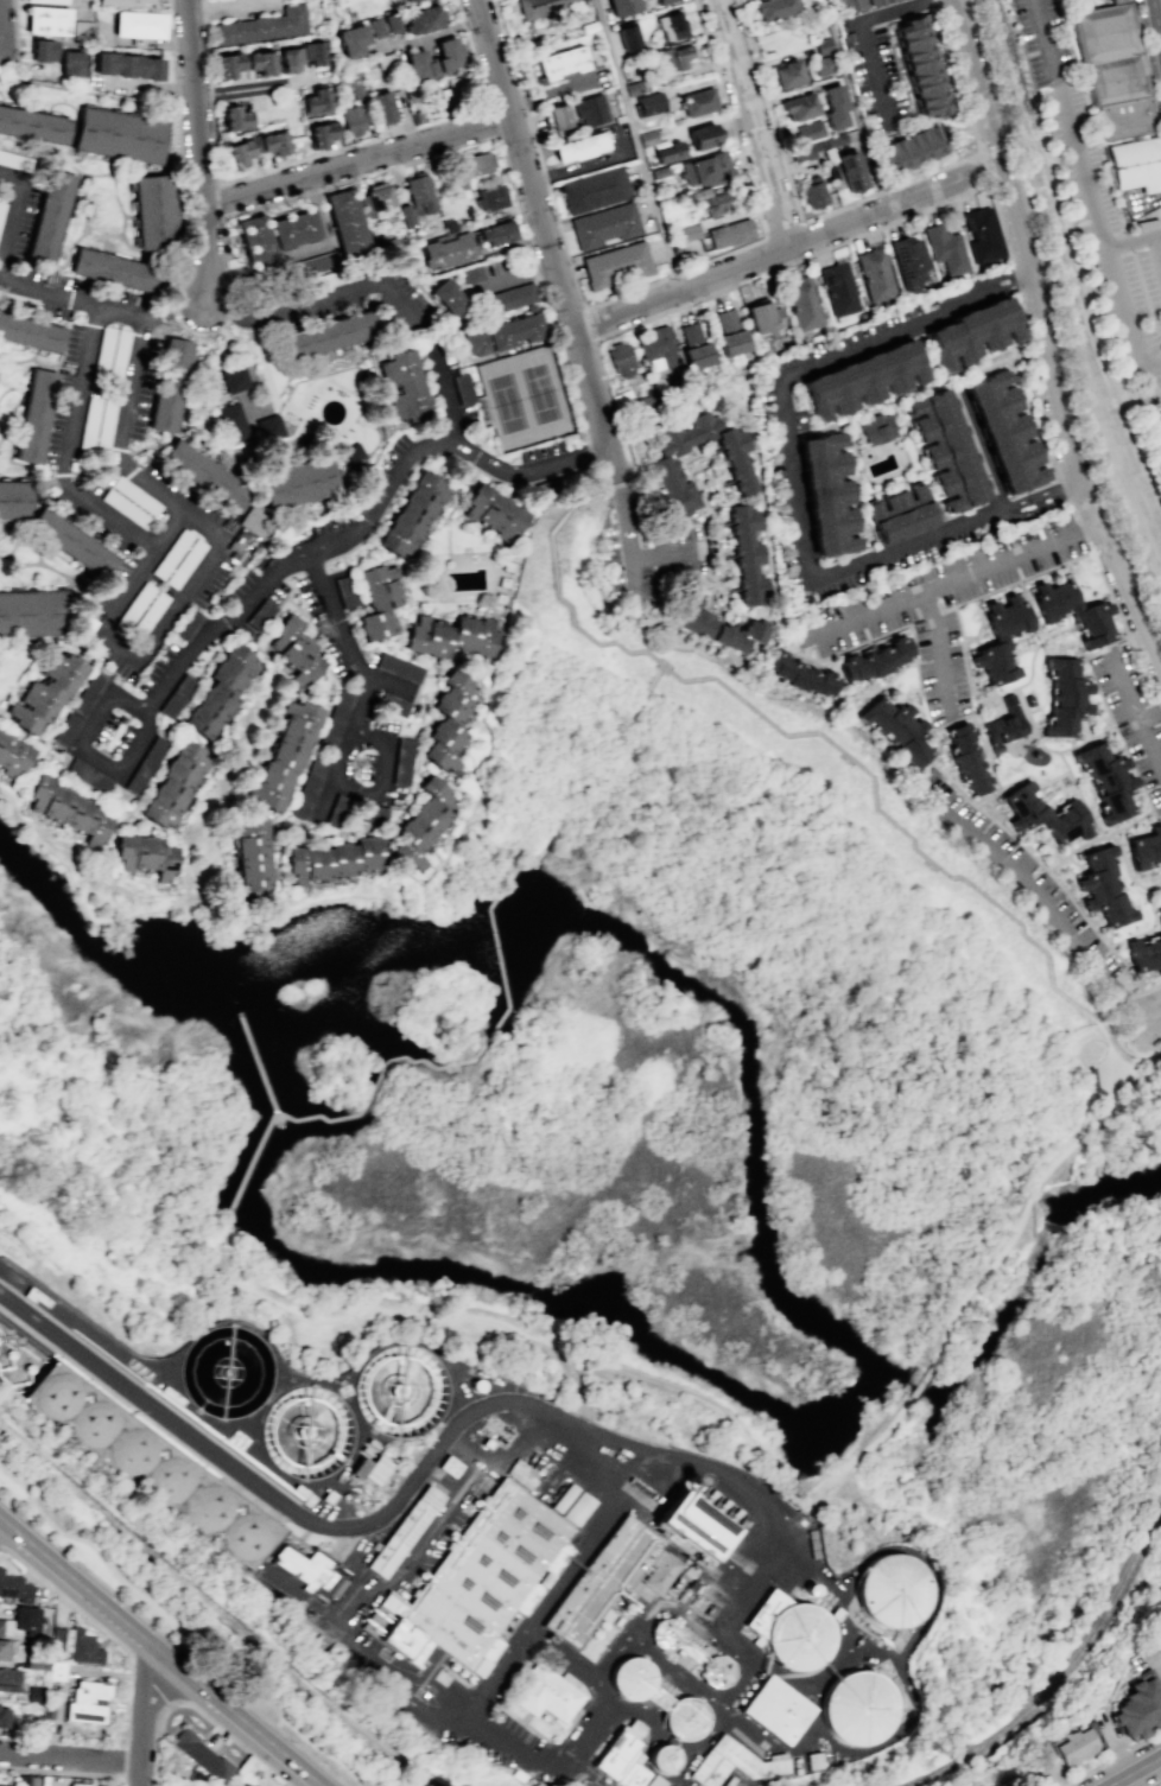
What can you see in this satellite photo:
building: (408, 0)
building: (45, 1)
building: (661, 1)
parking lot: (1067, 1)
building: (122, 2)
building: (851, 4)
parking lot: (1093, 5)
road: (230, 6)
building: (540, 6)
building: (621, 6)
building: (773, 8)
road: (895, 9)
road: (1, 11)
road: (202, 11)
building: (423, 19)
building: (46, 20)
building: (391, 23)
building: (138, 24)
road: (1155, 24)
road: (5, 26)
building: (260, 26)
building: (670, 26)
road: (15, 33)
building: (356, 37)
building: (627, 37)
building: (821, 45)
road: (471, 49)
building: (42, 50)
building: (312, 53)
building: (673, 57)
building: (287, 59)
building: (432, 59)
building: (259, 62)
building: (70, 63)
building: (559, 63)
building: (126, 65)
building: (227, 65)
building: (820, 65)
railway: (1016, 66)
building: (920, 68)
road: (873, 69)
building: (1117, 71)
road: (1147, 72)
building: (786, 74)
parking lot: (875, 78)
building: (353, 84)
road: (252, 88)
building: (452, 91)
road: (209, 97)
building: (313, 101)
building: (697, 102)
building: (647, 103)
building: (833, 106)
building: (381, 107)
building: (798, 107)
building: (589, 110)
building: (557, 116)
road: (489, 117)
building: (234, 119)
building: (351, 120)
road: (750, 123)
building: (33, 125)
building: (807, 131)
building: (319, 134)
building: (702, 135)
building: (118, 136)
building: (272, 142)
road: (379, 145)
road: (639, 145)
building: (578, 146)
building: (807, 148)
road: (201, 150)
building: (237, 151)
building: (909, 151)
road: (991, 153)
road: (359, 159)
building: (14, 160)
road: (293, 161)
building: (478, 163)
building: (1137, 166)
building: (704, 169)
building: (851, 171)
railway: (1036, 180)
building: (594, 190)
building: (418, 192)
road: (1092, 192)
building: (813, 193)
parking lot: (1093, 196)
road: (288, 197)
road: (221, 198)
building: (489, 198)
building: (375, 201)
building: (711, 201)
road: (858, 202)
building: (1, 208)
road: (13, 209)
building: (153, 211)
building: (405, 215)
building: (50, 217)
building: (344, 222)
road: (539, 224)
building: (604, 225)
building: (293, 228)
building: (687, 231)
road: (782, 231)
building: (494, 233)
building: (729, 233)
building: (981, 234)
building: (254, 239)
road: (1136, 246)
road: (786, 248)
road: (1159, 248)
building: (445, 249)
building: (944, 249)
road: (802, 259)
building: (908, 261)
building: (615, 263)
building: (115, 269)
park: (1097, 272)
building: (470, 273)
road: (1000, 275)
road: (380, 280)
road: (640, 287)
road: (1004, 287)
building: (837, 288)
building: (446, 297)
building: (512, 297)
road: (1081, 299)
building: (17, 300)
building: (801, 303)
road: (102, 309)
building: (762, 316)
building: (725, 319)
road: (590, 324)
building: (975, 328)
building: (31, 335)
building: (325, 335)
building: (501, 335)
building: (731, 342)
road: (1040, 342)
building: (693, 347)
building: (656, 348)
building: (102, 351)
building: (118, 354)
building: (620, 360)
building: (865, 375)
building: (233, 377)
building: (169, 384)
building: (400, 388)
building: (463, 388)
park: (522, 398)
building: (33, 415)
park: (1156, 418)
building: (230, 420)
building: (89, 424)
building: (104, 427)
building: (268, 427)
building: (876, 427)
building: (1007, 428)
road: (1152, 428)
road: (609, 432)
railway: (1124, 443)
building: (946, 447)
road: (978, 447)
road: (71, 450)
building: (351, 451)
road: (118, 453)
road: (608, 459)
road: (1121, 462)
road: (548, 464)
building: (664, 470)
building: (204, 473)
building: (298, 484)
building: (544, 488)
building: (367, 490)
building: (827, 490)
building: (134, 495)
road: (576, 497)
building: (14, 500)
road: (1068, 501)
building: (125, 509)
building: (491, 510)
building: (897, 510)
building: (411, 515)
road: (797, 515)
building: (253, 521)
road: (170, 532)
road: (624, 532)
building: (70, 541)
building: (171, 554)
road: (656, 554)
building: (743, 557)
building: (184, 564)
building: (506, 566)
building: (502, 581)
road: (956, 584)
building: (344, 591)
road: (252, 593)
building: (497, 598)
building: (378, 599)
building: (506, 600)
building: (134, 606)
building: (1076, 611)
building: (32, 612)
building: (260, 614)
building: (147, 616)
building: (186, 623)
road: (575, 625)
building: (716, 627)
building: (449, 635)
building: (1002, 637)
building: (293, 650)
road: (943, 652)
building: (876, 659)
road: (137, 660)
building: (398, 667)
building: (800, 673)
road: (360, 682)
building: (220, 689)
building: (45, 691)
building: (87, 693)
building: (177, 695)
building: (1066, 697)
building: (391, 704)
road: (1136, 712)
parking lot: (1131, 713)
building: (334, 719)
building: (448, 720)
road: (1152, 722)
building: (1004, 723)
building: (65, 729)
building: (897, 730)
road: (140, 743)
building: (997, 748)
building: (12, 755)
building: (283, 755)
building: (967, 759)
building: (401, 761)
building: (145, 764)
building: (88, 775)
road: (381, 776)
building: (1108, 781)
building: (175, 783)
building: (307, 788)
building: (337, 809)
building: (68, 811)
road: (882, 813)
building: (370, 814)
building: (1043, 814)
building: (420, 826)
building: (1146, 848)
building: (249, 853)
building: (144, 854)
building: (330, 859)
building: (1104, 889)
road: (1039, 900)
building: (1159, 909)
building: (1144, 955)
road: (1119, 1010)
road: (499, 1016)
road: (1152, 1018)
road: (1141, 1042)
road: (1109, 1049)
road: (1029, 1195)
road: (237, 1196)
road: (169, 1348)
road: (596, 1360)
building: (226, 1371)
storage tank: (226, 1371)
road: (567, 1378)
road: (916, 1385)
building: (400, 1391)
storage tank: (400, 1391)
building: (57, 1394)
storage tank: (57, 1394)
building: (95, 1422)
storage tank: (95, 1422)
building: (306, 1430)
storage tank: (306, 1430)
building: (133, 1450)
storage tank: (133, 1450)
building: (451, 1467)
building: (171, 1479)
storage tank: (171, 1479)
road: (820, 1488)
building: (565, 1498)
building: (209, 1507)
storage tank: (209, 1507)
building: (579, 1508)
road: (298, 1511)
building: (693, 1521)
building: (406, 1531)
building: (247, 1536)
storage tank: (247, 1536)
wastewater plant: (503, 1559)
building: (311, 1572)
building: (660, 1572)
building: (478, 1584)
wastewater plant: (621, 1584)
building: (13, 1588)
building: (893, 1589)
storage tank: (893, 1589)
road: (65, 1601)
road: (228, 1603)
park: (171, 1607)
railway: (218, 1609)
building: (20, 1621)
road: (177, 1625)
building: (665, 1632)
storage tank: (665, 1632)
building: (795, 1636)
storage tank: (795, 1636)
road: (172, 1642)
building: (74, 1644)
building: (2, 1650)
road: (621, 1651)
road: (159, 1652)
building: (55, 1670)
building: (716, 1671)
storage tank: (716, 1671)
railway: (1065, 1674)
building: (630, 1677)
storage tank: (630, 1677)
building: (8, 1678)
road: (159, 1679)
building: (32, 1693)
building: (547, 1695)
building: (85, 1701)
road: (1027, 1702)
building: (857, 1706)
storage tank: (857, 1706)
building: (1136, 1708)
building: (776, 1710)
building: (49, 1712)
building: (4, 1716)
building: (684, 1717)
storage tank: (684, 1717)
road: (145, 1721)
road: (277, 1722)
building: (36, 1725)
road: (216, 1727)
building: (636, 1728)
road: (27, 1737)
building: (1072, 1744)
building: (617, 1754)
building: (199, 1755)
building: (662, 1756)
storage tank: (662, 1756)
road: (1112, 1758)
road: (71, 1759)
building: (735, 1763)
road: (1131, 1769)
road: (62, 1773)
building: (633, 1773)
building: (26, 1779)
park: (1020, 1779)
building: (658, 1781)
road: (1153, 1781)
building: (78, 1784)
building: (2, 1785)
building: (242, 1785)

